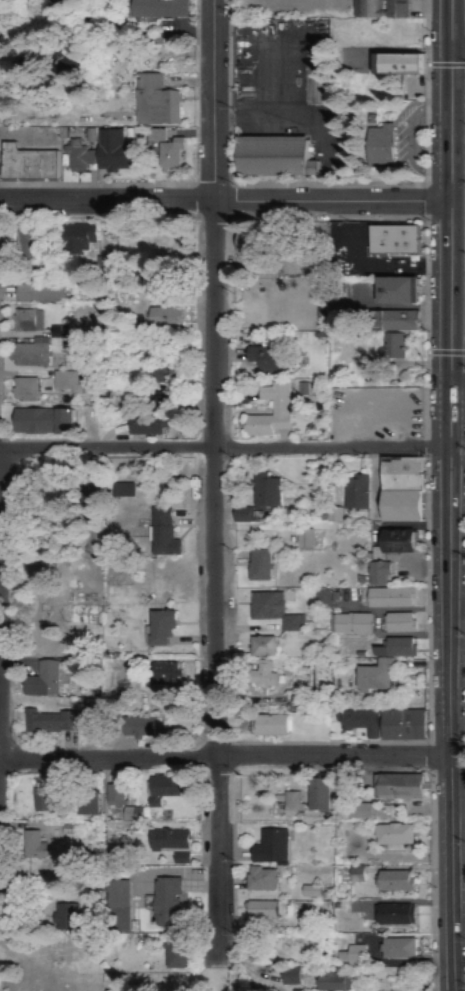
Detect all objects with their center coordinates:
building: (157, 9)
building: (365, 9)
building: (395, 9)
road: (455, 50)
building: (396, 63)
road: (207, 100)
building: (153, 102)
building: (154, 135)
building: (380, 146)
building: (112, 152)
building: (76, 155)
building: (166, 156)
building: (275, 157)
building: (26, 163)
road: (104, 201)
road: (326, 201)
building: (394, 238)
building: (74, 241)
building: (249, 246)
building: (24, 249)
building: (399, 290)
building: (36, 293)
building: (162, 319)
building: (396, 321)
building: (23, 322)
road: (206, 325)
building: (391, 350)
building: (26, 357)
building: (265, 361)
building: (63, 383)
road: (454, 386)
building: (22, 391)
building: (269, 412)
building: (41, 422)
building: (145, 426)
road: (102, 448)
road: (324, 448)
building: (121, 490)
building: (401, 490)
building: (264, 491)
building: (353, 493)
road: (444, 495)
building: (239, 516)
building: (162, 540)
building: (300, 540)
building: (398, 543)
building: (258, 567)
building: (379, 575)
building: (390, 599)
road: (209, 602)
building: (271, 612)
building: (398, 624)
building: (351, 625)
building: (165, 631)
building: (262, 648)
building: (384, 667)
building: (164, 676)
building: (261, 676)
building: (40, 681)
building: (49, 723)
building: (358, 723)
building: (271, 726)
building: (403, 726)
building: (137, 727)
road: (327, 755)
road: (105, 757)
building: (400, 788)
building: (340, 790)
building: (162, 791)
building: (317, 795)
building: (113, 796)
building: (40, 798)
building: (287, 804)
building: (85, 805)
building: (358, 813)
building: (130, 814)
building: (392, 835)
building: (169, 840)
building: (30, 846)
building: (268, 847)
building: (178, 859)
road: (211, 861)
building: (261, 880)
building: (393, 882)
building: (310, 892)
building: (167, 903)
building: (115, 908)
building: (260, 911)
building: (63, 916)
building: (394, 916)
building: (395, 950)
building: (176, 954)
building: (354, 956)
building: (288, 977)
building: (333, 983)

